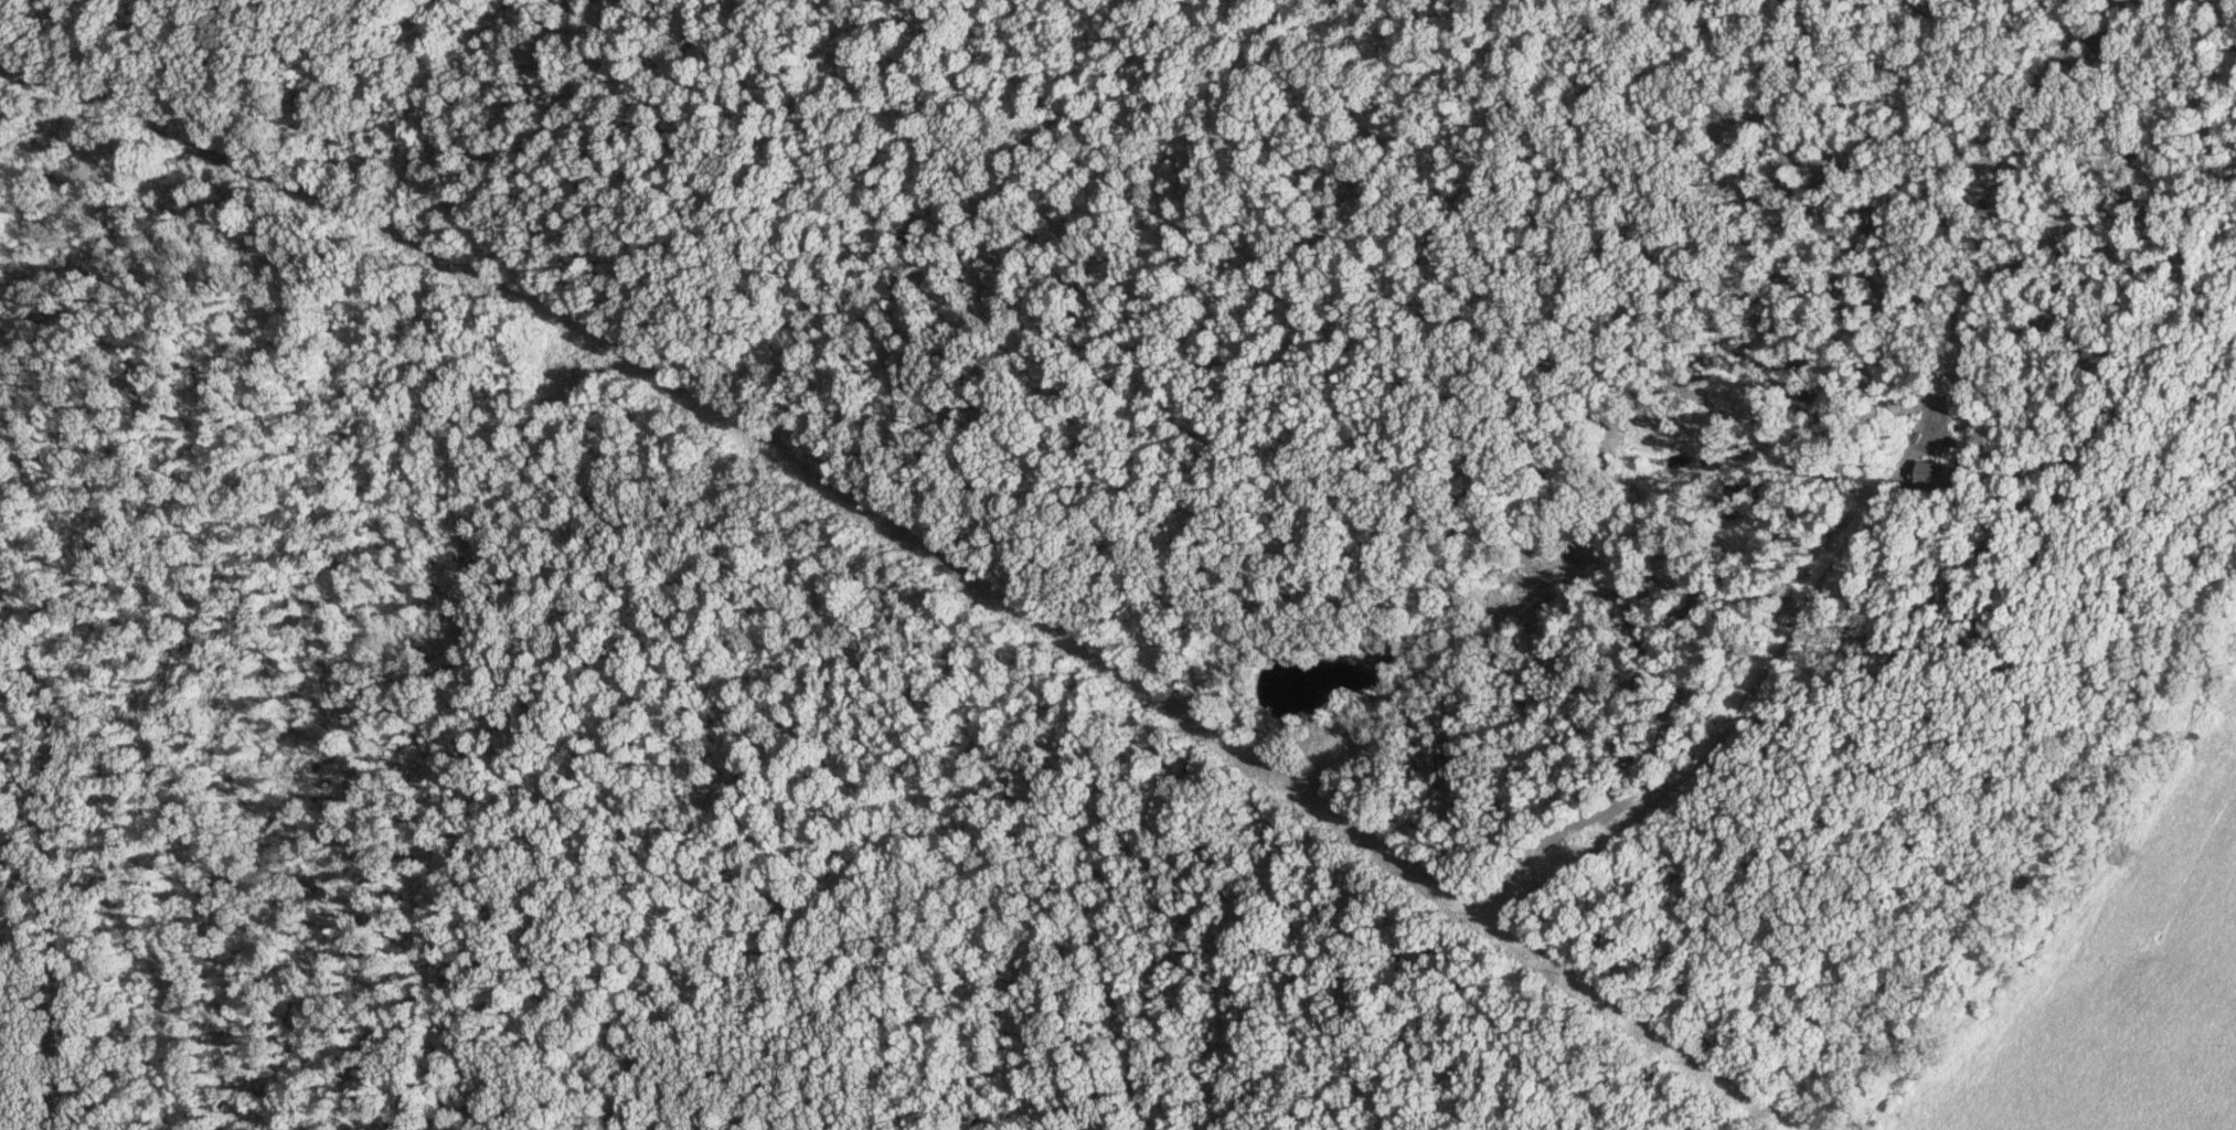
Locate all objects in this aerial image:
building: (1930, 473)

